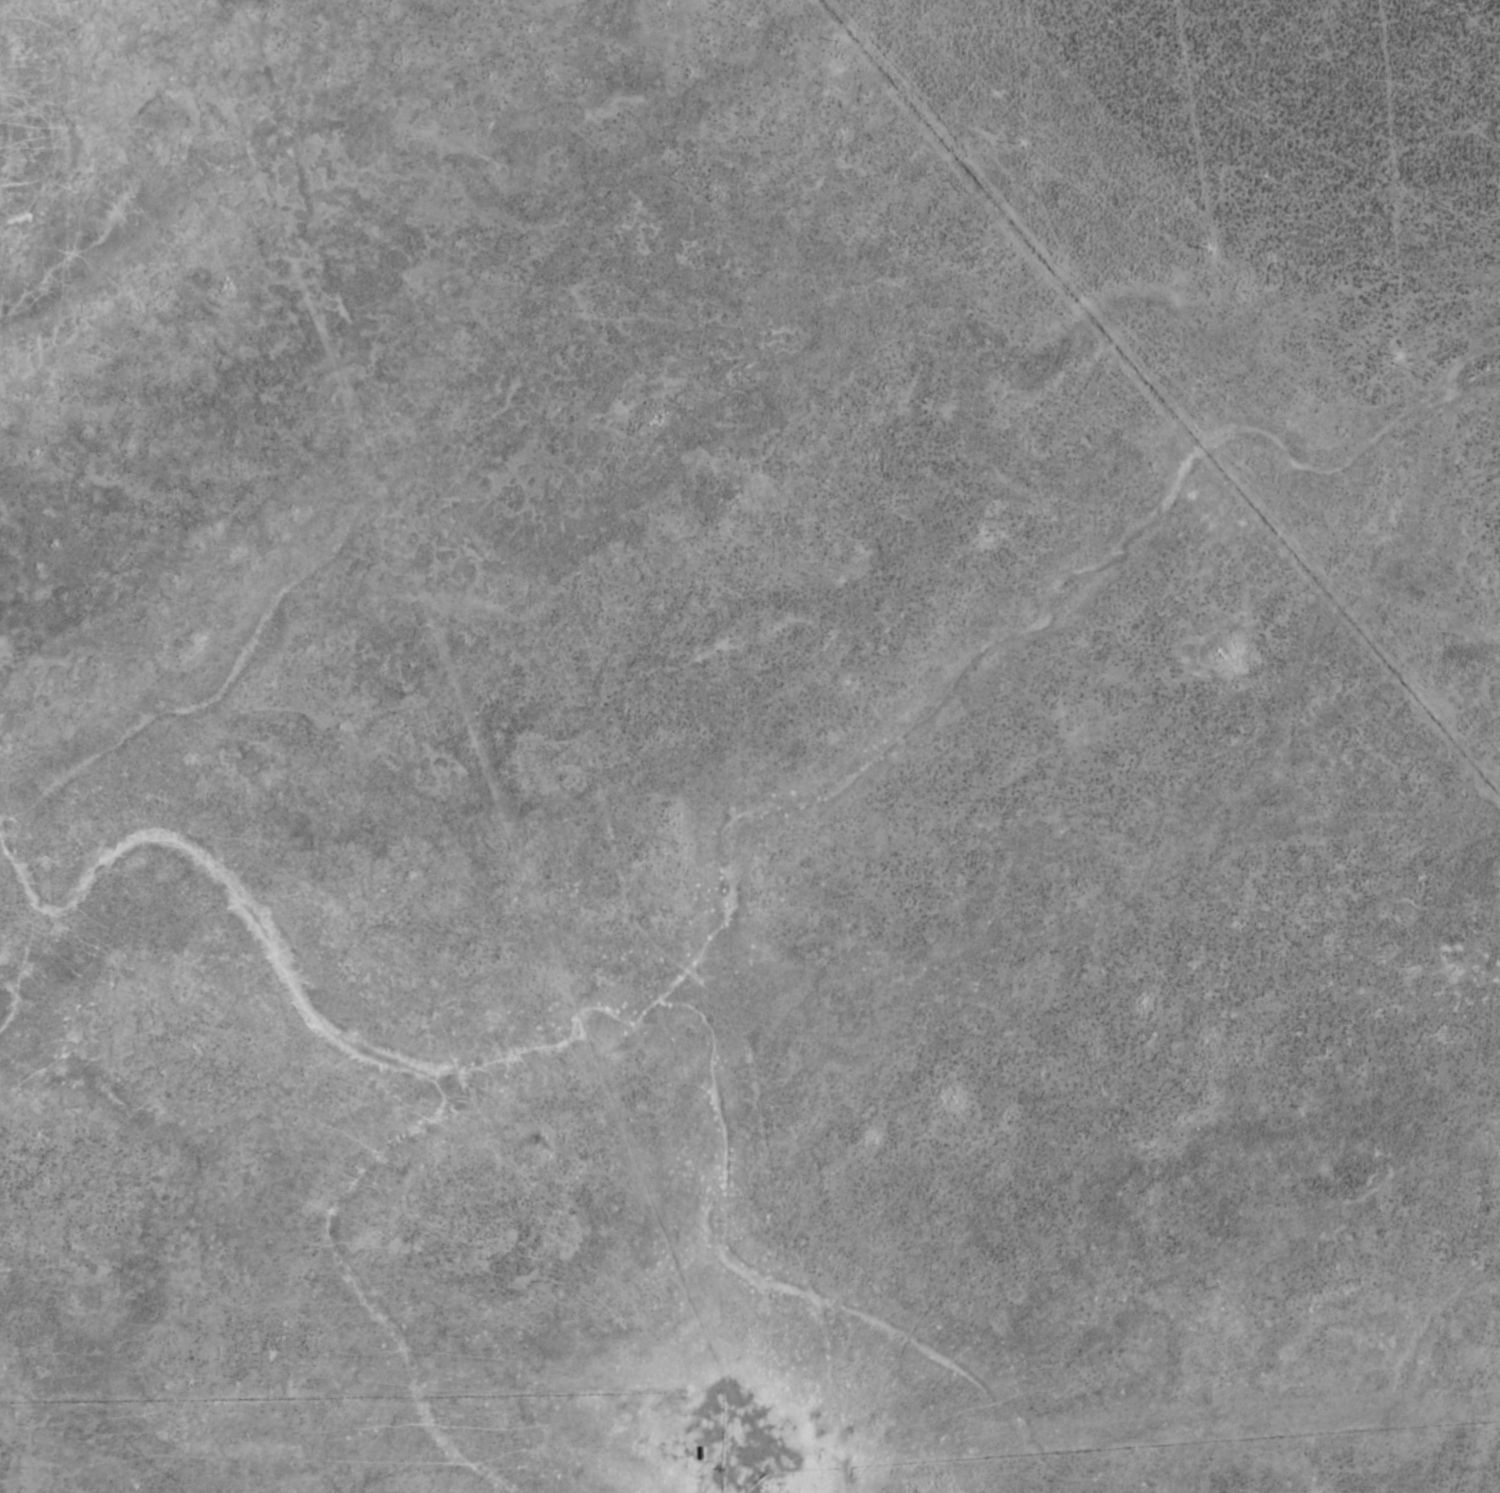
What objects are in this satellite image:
crop: (750, 746)

